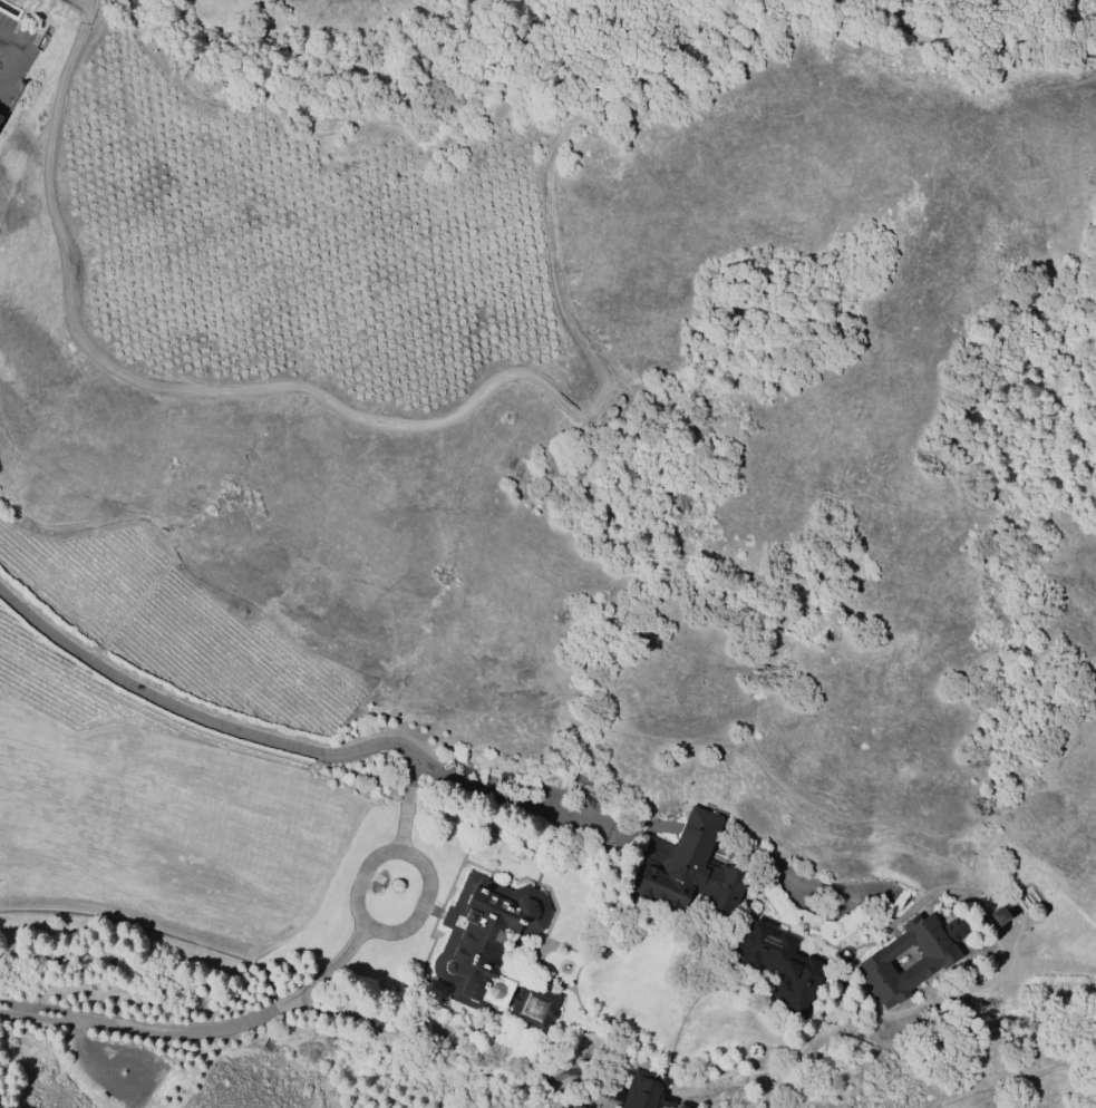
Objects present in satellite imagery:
parking lot: (20, 46)
road: (972, 55)
building: (2, 119)
road: (419, 425)
road: (239, 731)
parking lot: (549, 797)
road: (661, 827)
building: (691, 865)
road: (361, 881)
road: (549, 890)
parking lot: (908, 903)
building: (1000, 916)
road: (802, 931)
building: (487, 939)
building: (925, 963)
building: (782, 965)
road: (998, 975)
road: (539, 980)
road: (575, 994)
building: (534, 1008)
road: (833, 1008)
road: (689, 1009)
road: (388, 1018)
road: (201, 1032)
road: (84, 1036)
road: (759, 1050)
parking lot: (122, 1067)
building: (644, 1090)

